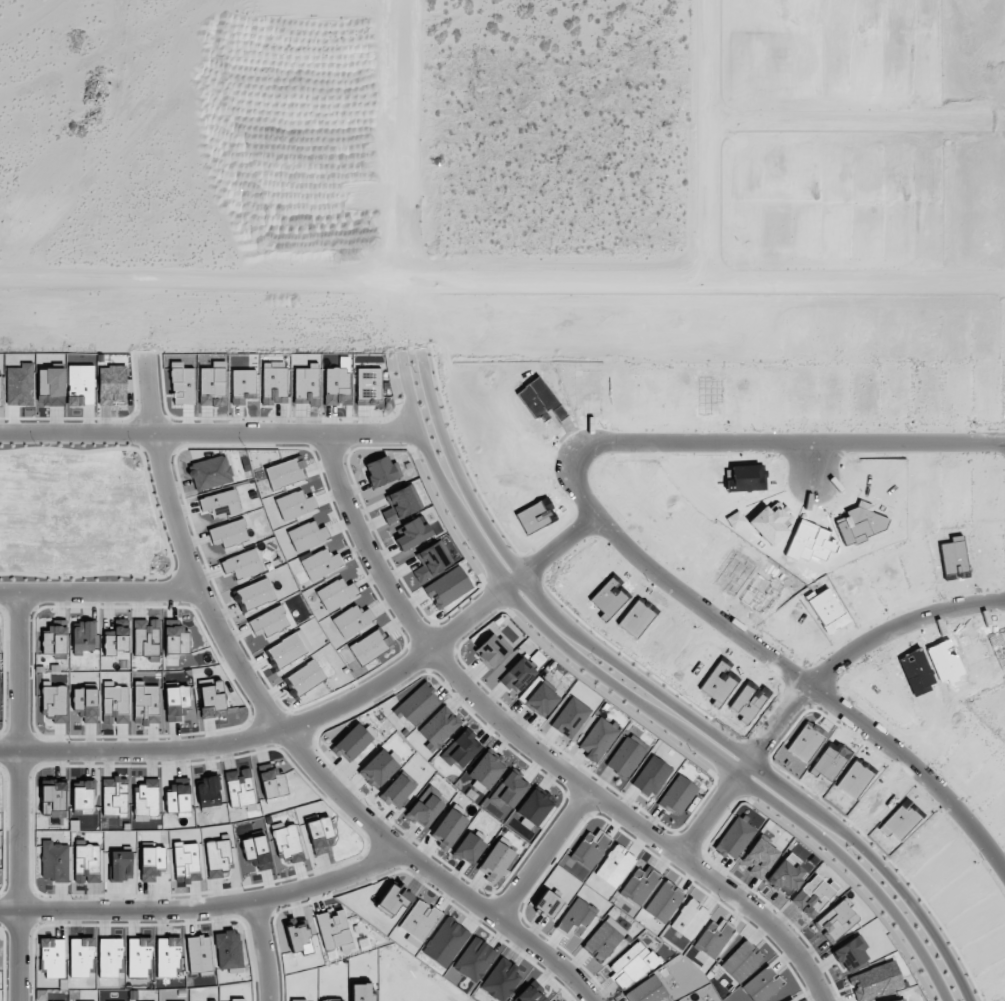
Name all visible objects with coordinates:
road: (259, 286)
building: (112, 385)
building: (209, 385)
building: (274, 385)
building: (306, 385)
building: (335, 385)
building: (368, 385)
building: (243, 386)
road: (209, 438)
building: (210, 472)
building: (220, 504)
building: (294, 505)
building: (228, 533)
road: (607, 539)
road: (556, 554)
building: (242, 564)
building: (320, 564)
building: (255, 594)
road: (98, 599)
building: (352, 620)
building: (268, 622)
building: (84, 636)
building: (55, 637)
building: (146, 637)
building: (175, 639)
building: (117, 640)
building: (492, 650)
building: (285, 651)
road: (855, 653)
road: (620, 672)
building: (517, 676)
building: (305, 677)
road: (603, 685)
building: (211, 698)
building: (542, 699)
building: (55, 703)
building: (86, 703)
building: (145, 704)
building: (417, 704)
building: (115, 705)
road: (259, 705)
building: (570, 717)
road: (281, 735)
building: (598, 739)
building: (352, 743)
road: (531, 753)
building: (625, 758)
building: (378, 769)
building: (485, 771)
building: (651, 776)
building: (273, 784)
building: (398, 790)
building: (677, 795)
building: (53, 798)
road: (18, 800)
building: (425, 807)
building: (533, 808)
road: (712, 813)
building: (448, 828)
building: (759, 856)
building: (495, 860)
road: (541, 860)
building: (54, 861)
building: (813, 896)
road: (203, 910)
building: (836, 920)
building: (334, 931)
road: (262, 952)
building: (199, 953)
building: (81, 956)
building: (139, 956)
building: (167, 956)
building: (110, 957)
building: (474, 959)
building: (741, 961)
building: (501, 980)
building: (762, 985)
building: (647, 990)
building: (237, 1000)
building: (792, 1000)

